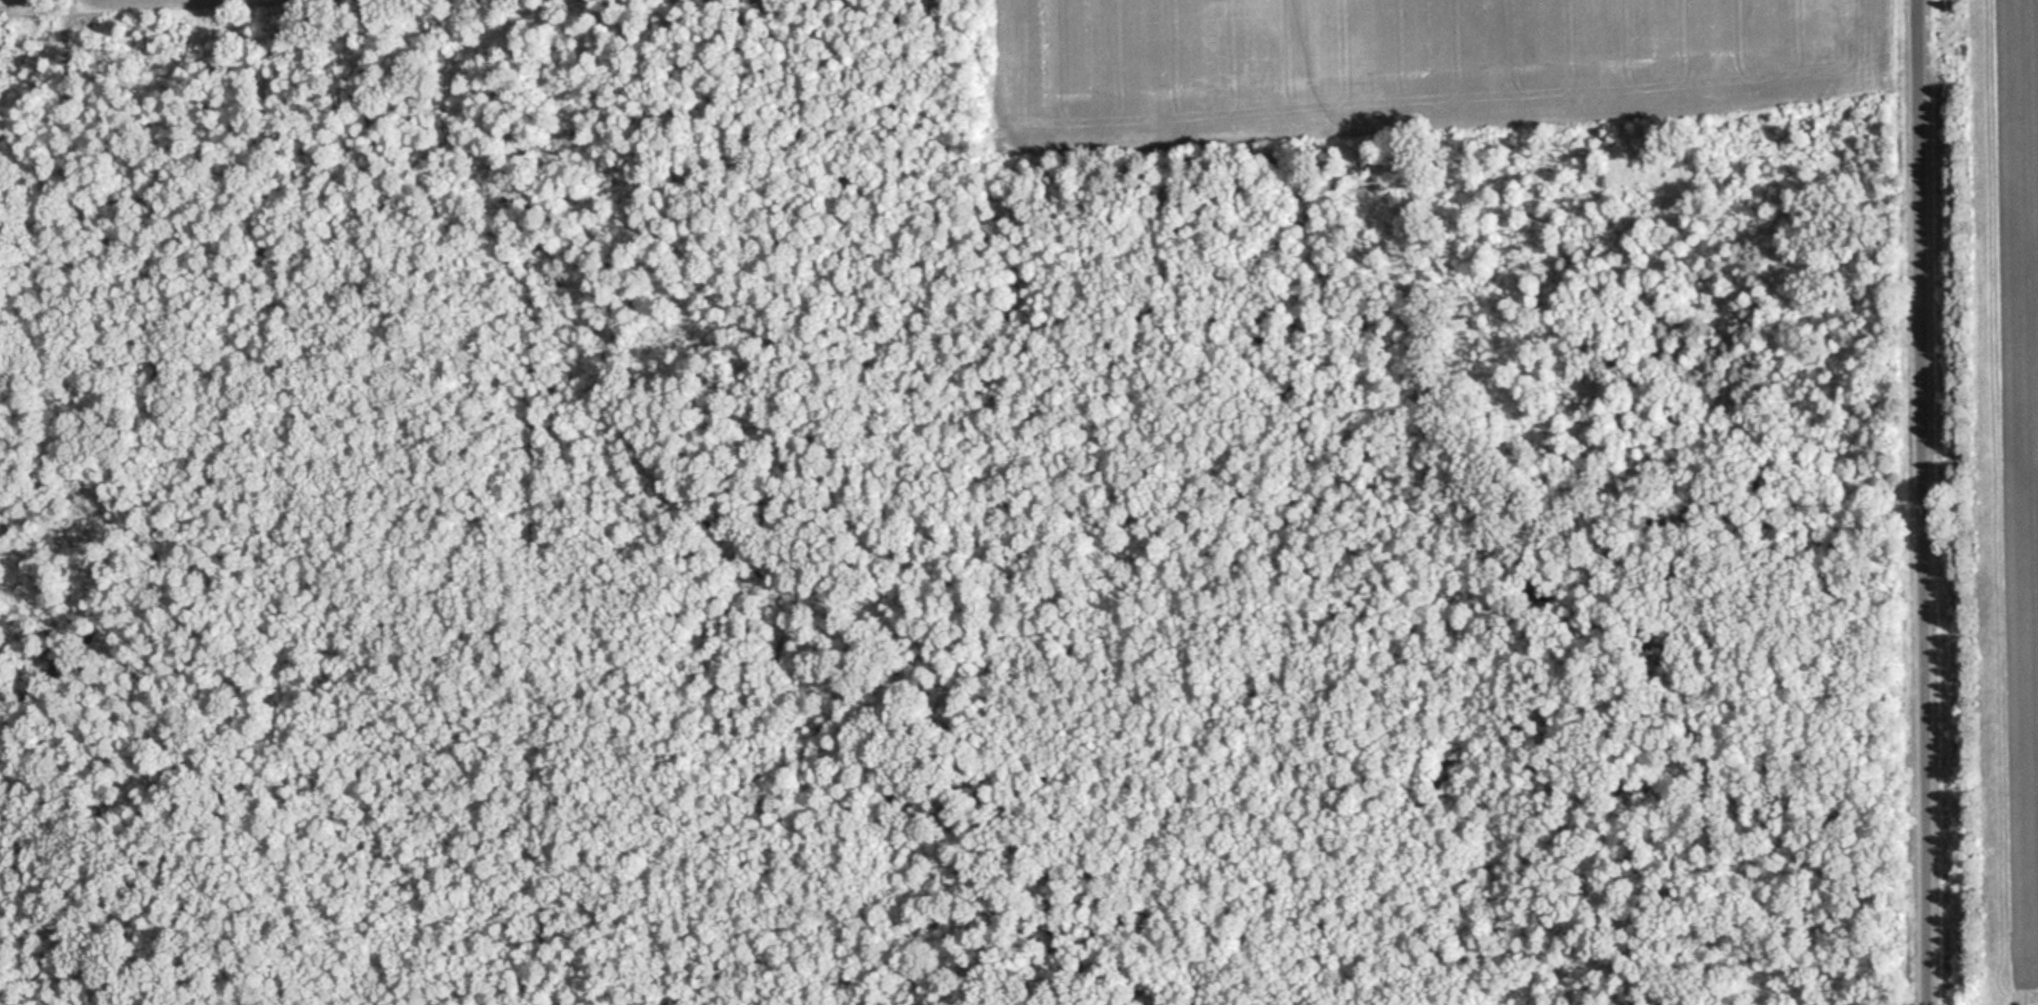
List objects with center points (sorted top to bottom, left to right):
road: (1926, 502)

